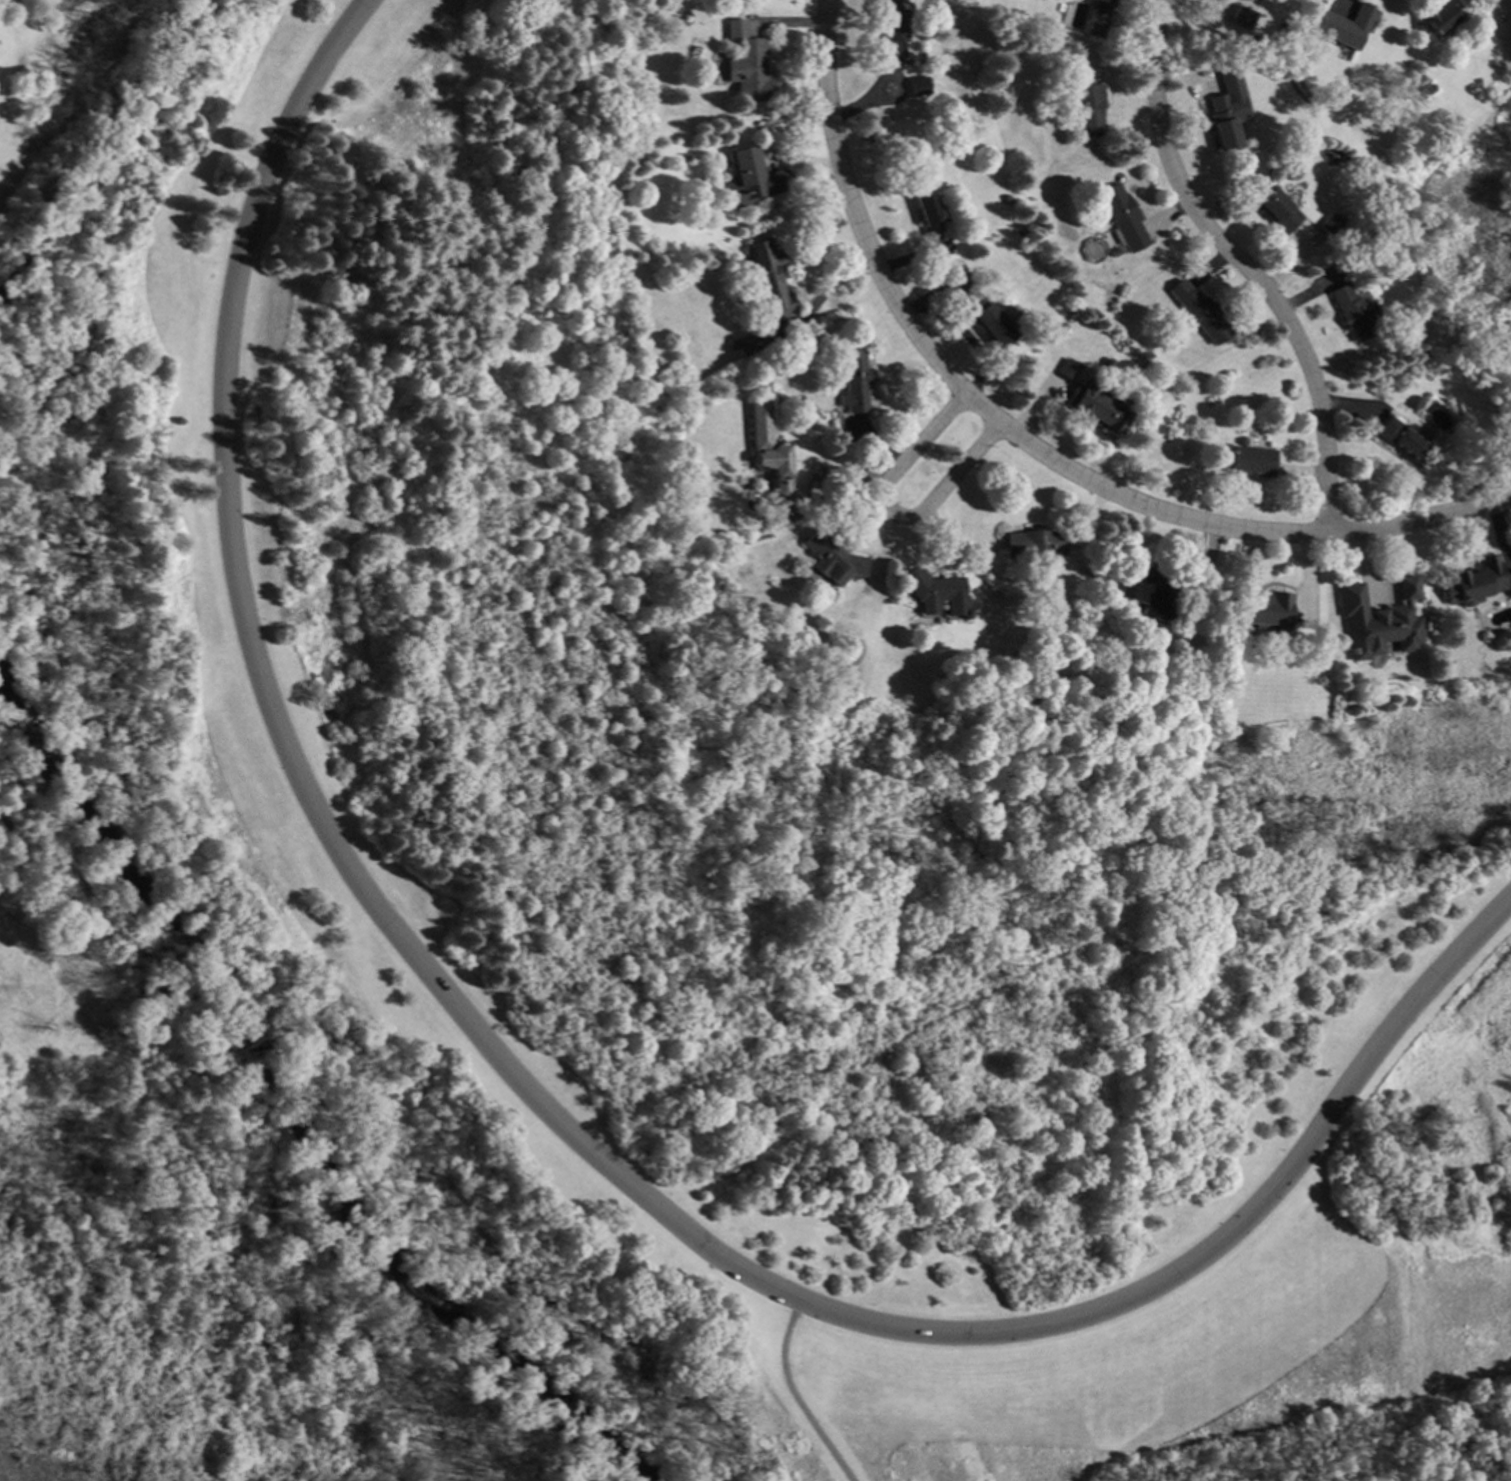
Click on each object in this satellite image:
building: (1241, 0)
building: (1440, 16)
building: (1098, 17)
building: (1238, 18)
building: (1344, 27)
building: (891, 34)
building: (748, 71)
building: (917, 87)
building: (1225, 106)
building: (1089, 111)
river: (94, 163)
building: (749, 179)
building: (1274, 210)
building: (927, 211)
building: (1122, 216)
building: (1328, 225)
building: (1019, 233)
road: (1241, 265)
building: (1347, 265)
park: (1473, 270)
building: (767, 281)
building: (1198, 313)
building: (1352, 313)
building: (995, 322)
building: (732, 344)
building: (1107, 363)
building: (1069, 369)
building: (854, 381)
building: (1096, 407)
building: (1400, 440)
road: (1024, 445)
building: (766, 450)
building: (1249, 461)
road: (893, 511)
building: (707, 534)
building: (1033, 542)
building: (830, 558)
building: (1084, 571)
building: (1473, 581)
building: (930, 589)
building: (1150, 590)
building: (1261, 611)
building: (1378, 620)
building: (1030, 672)
building: (1374, 702)
road: (280, 738)
park: (633, 884)
river: (297, 1097)
road: (172, 1135)
road: (1222, 1239)
road: (793, 1396)

